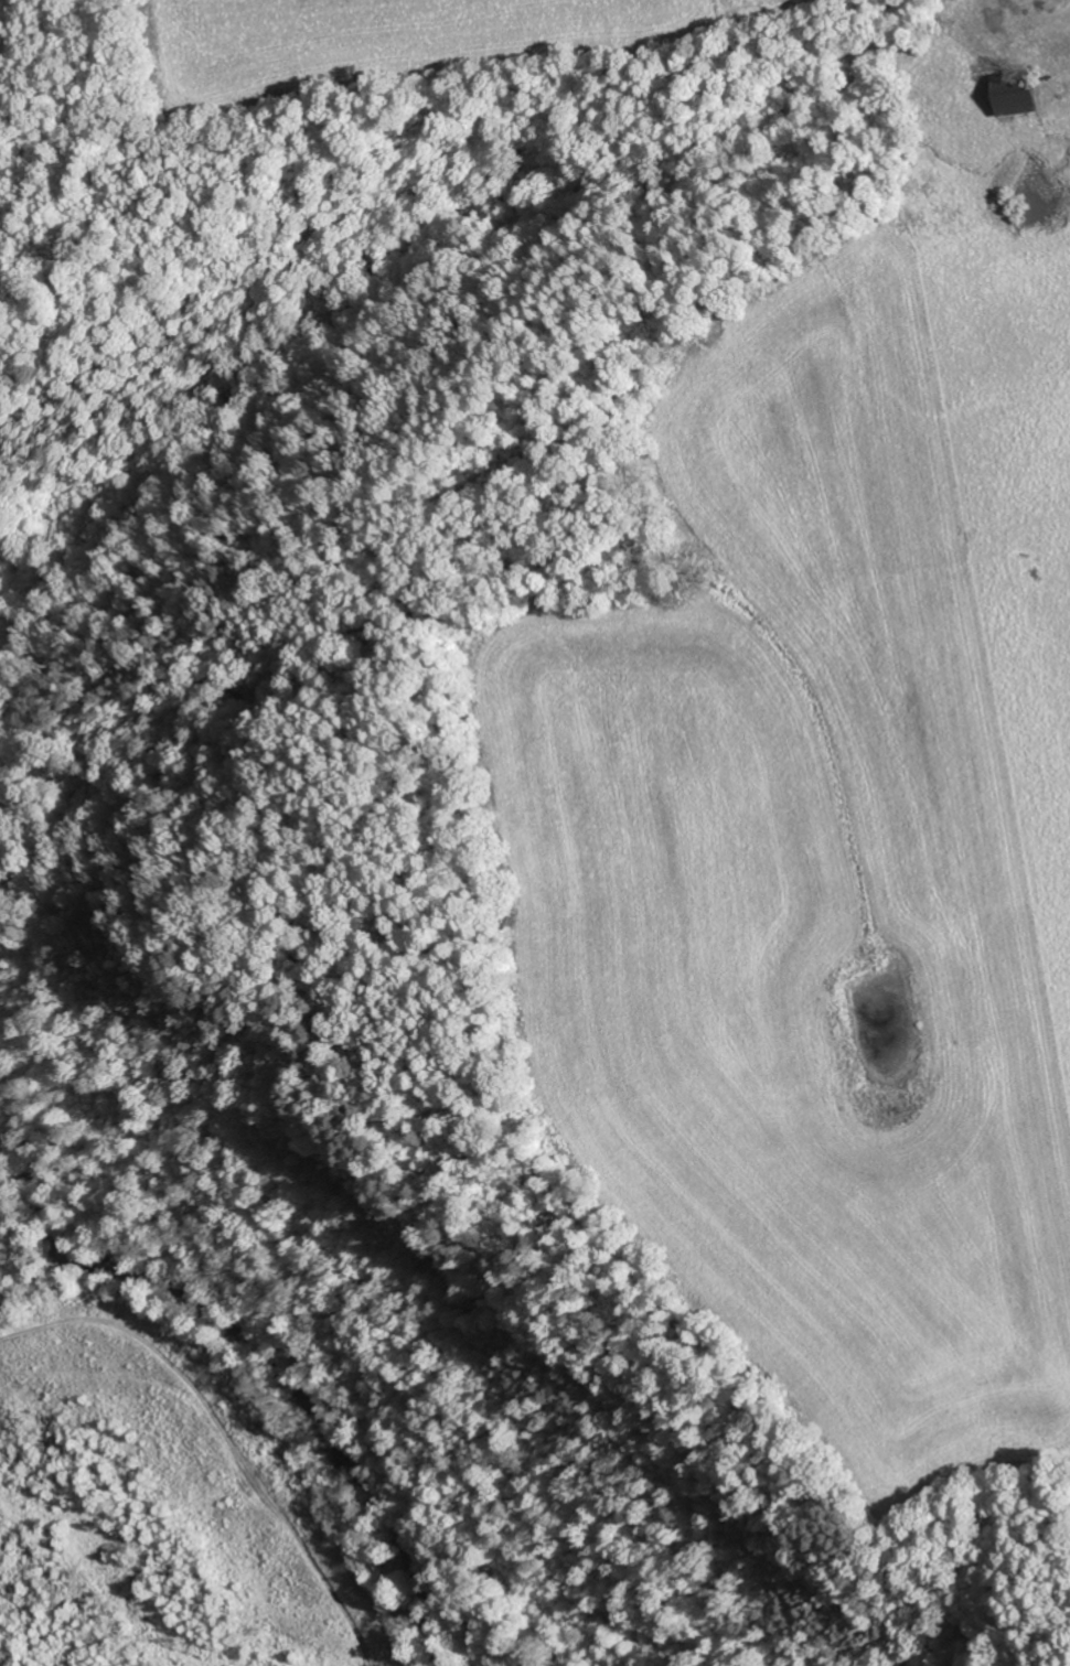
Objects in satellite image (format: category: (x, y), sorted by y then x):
building: (1019, 96)

